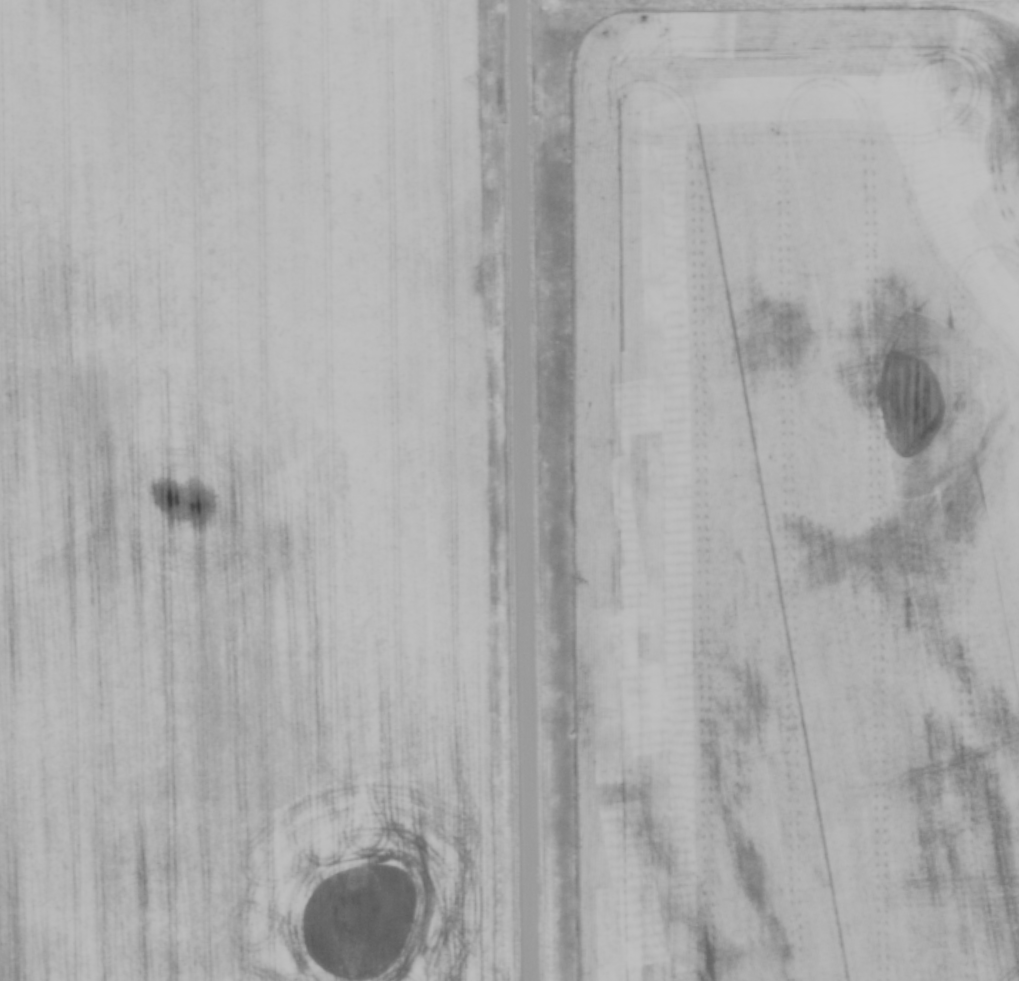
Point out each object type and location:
road: (523, 490)

